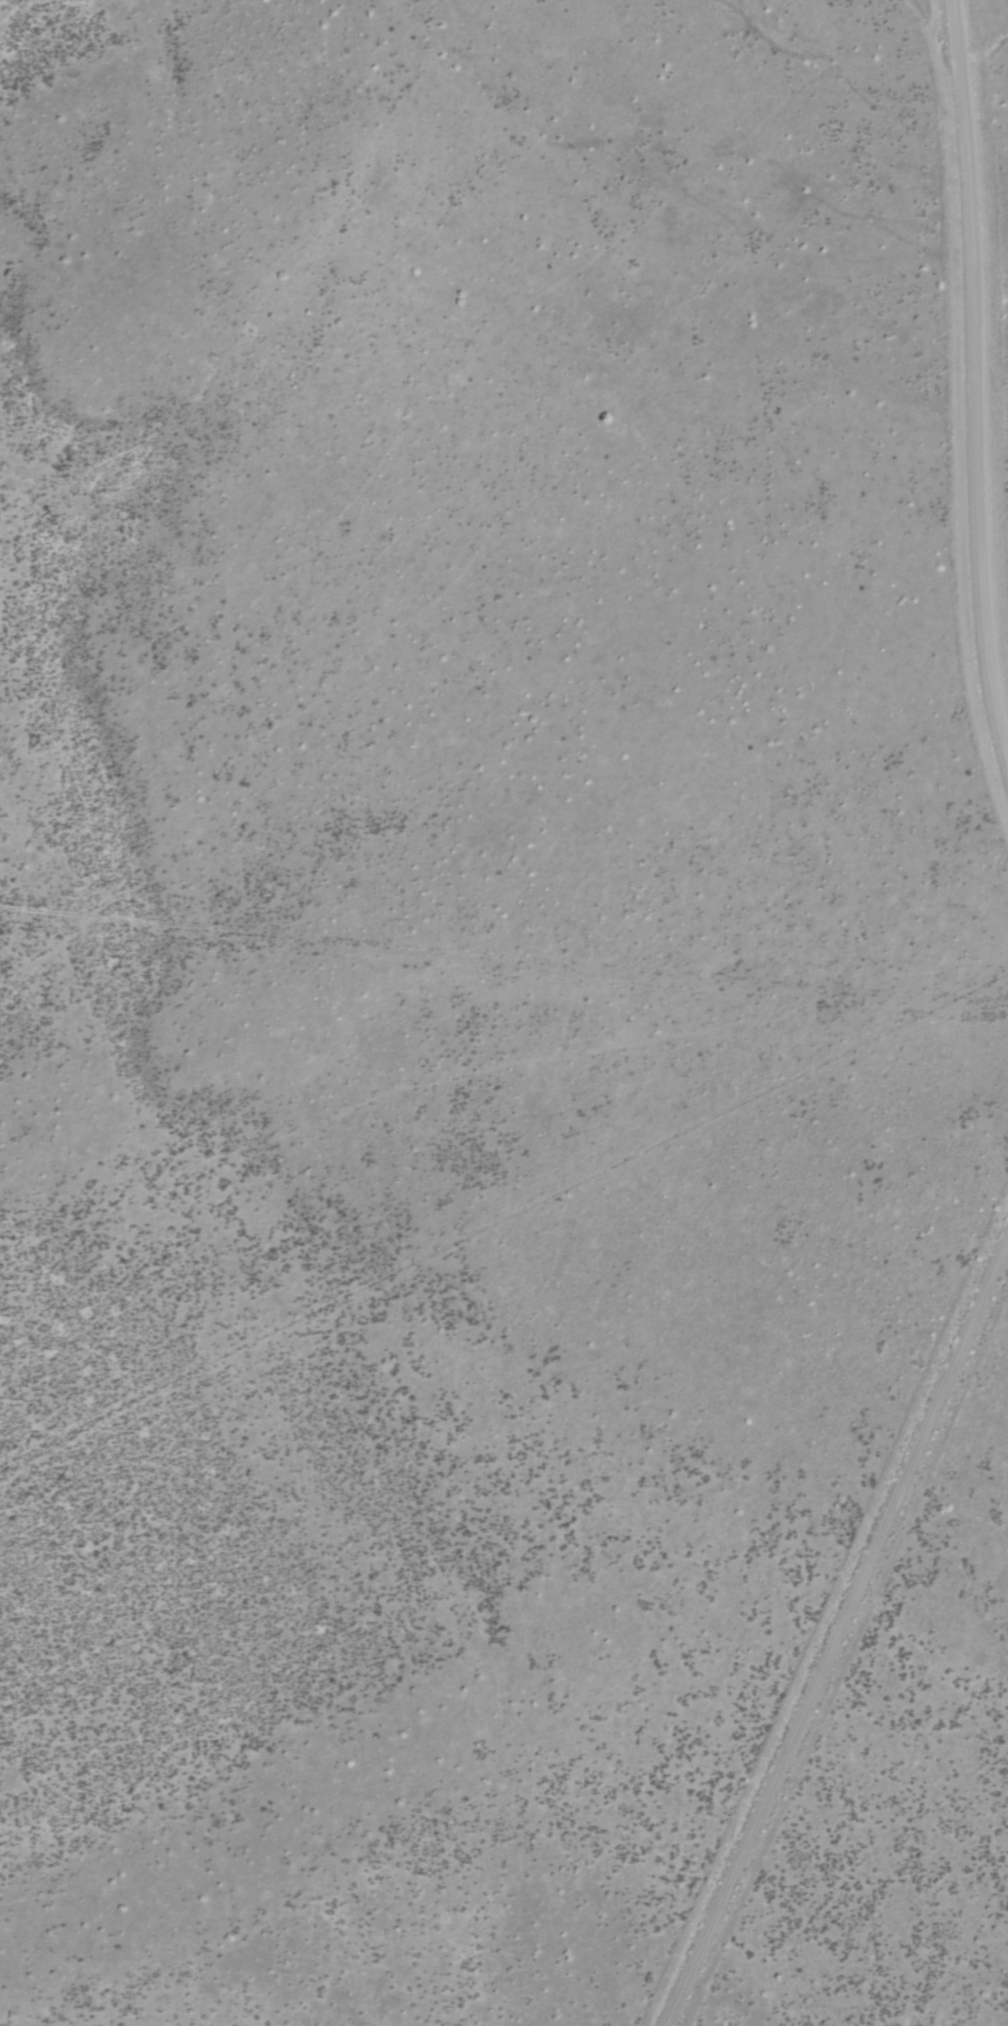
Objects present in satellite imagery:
road: (979, 380)
road: (838, 1626)

